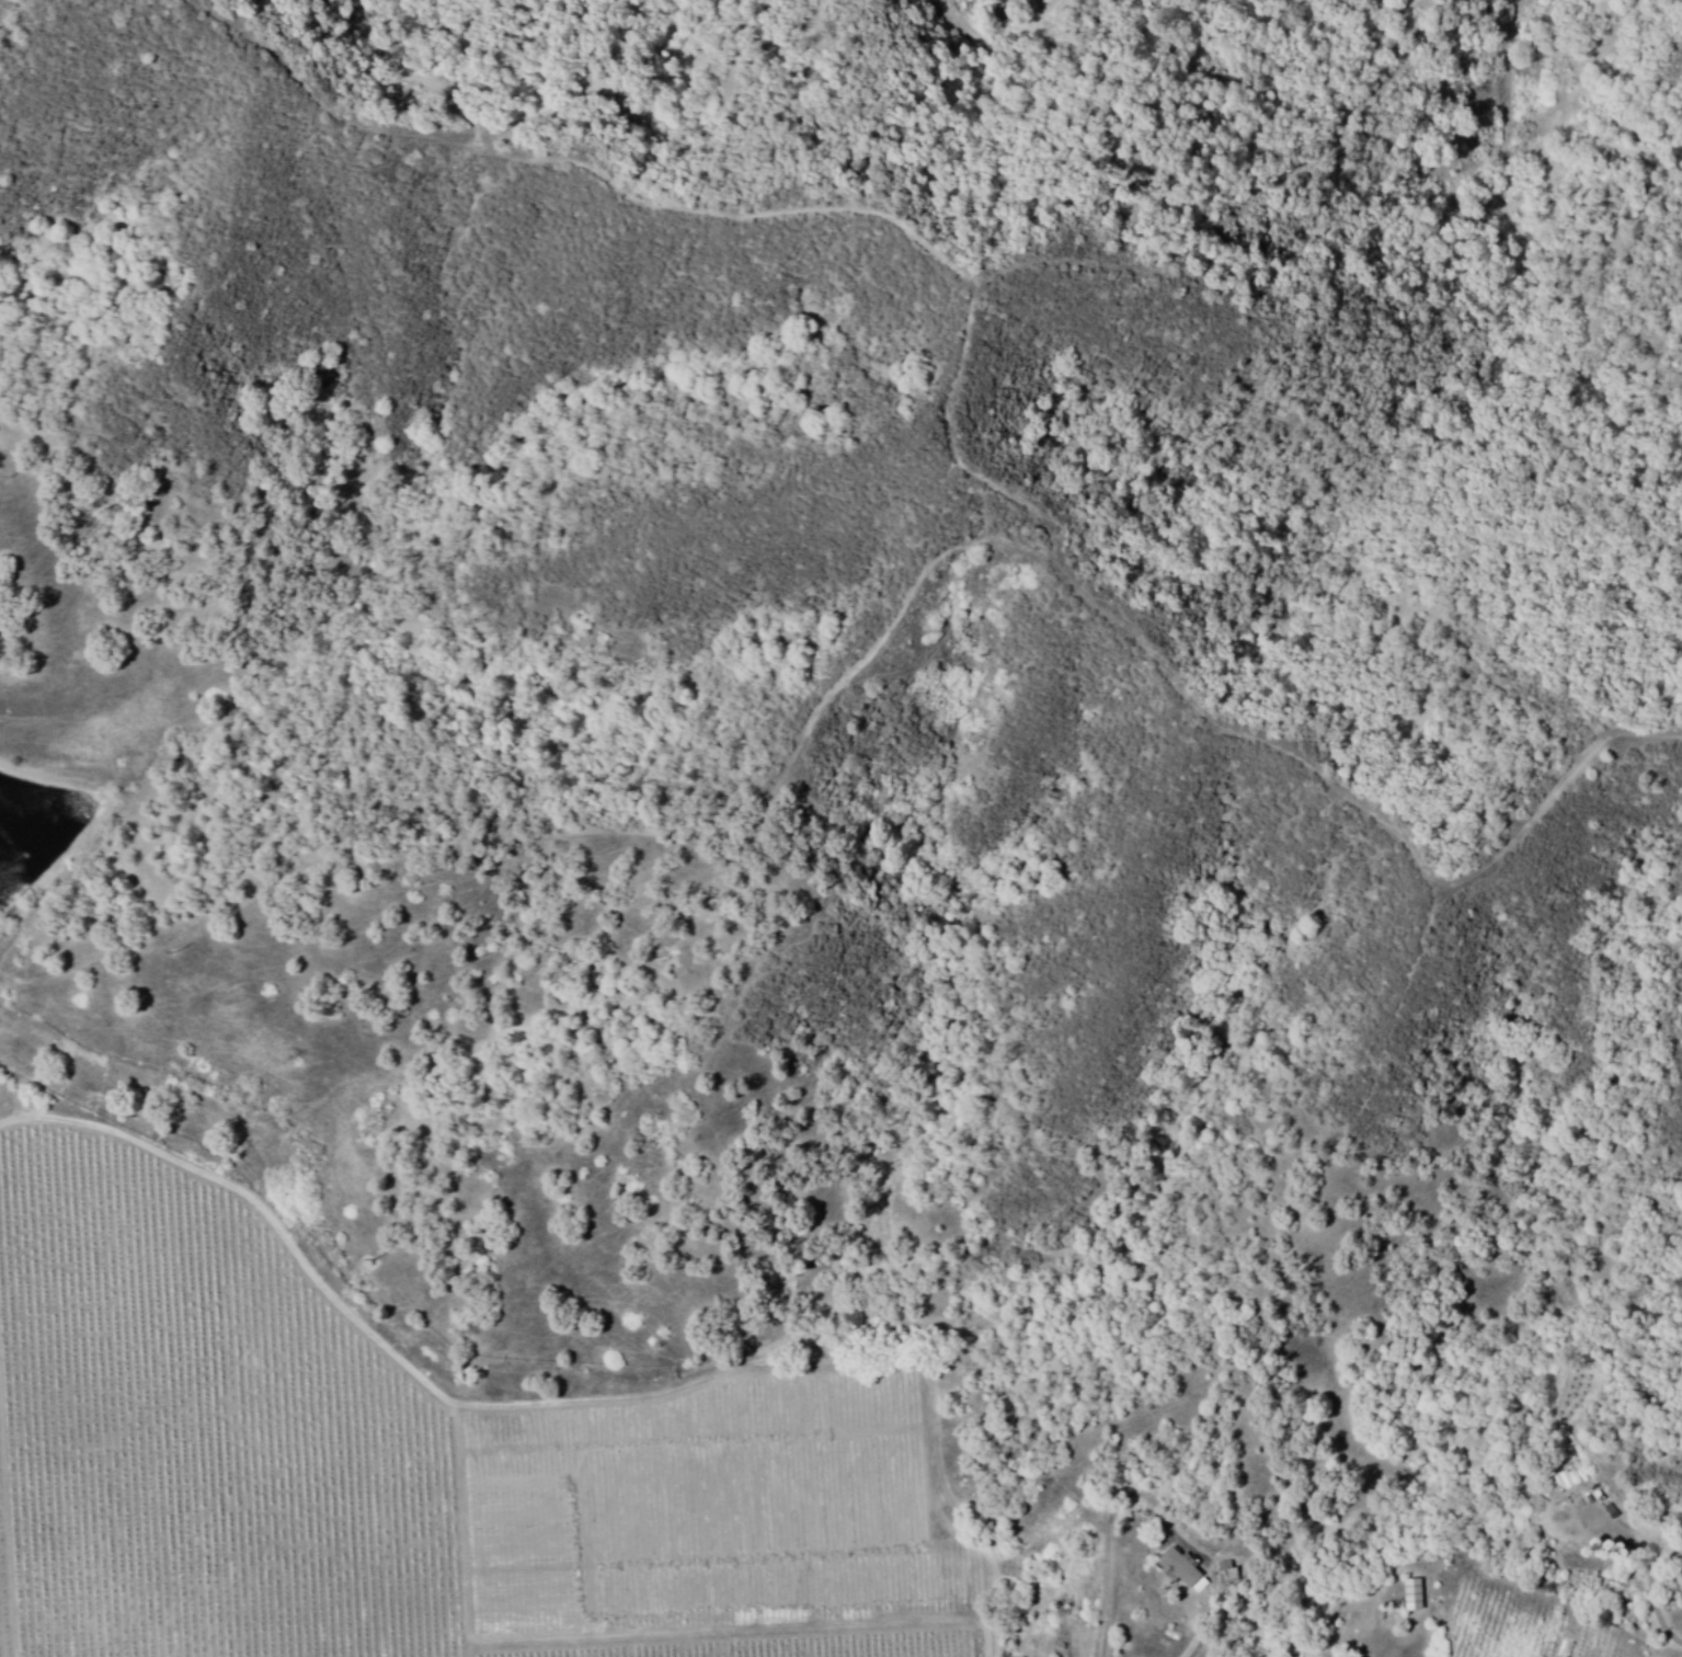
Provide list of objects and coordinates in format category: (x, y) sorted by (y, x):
building: (1181, 1570)
building: (1416, 1598)
road: (1111, 1607)
road: (1660, 1607)

